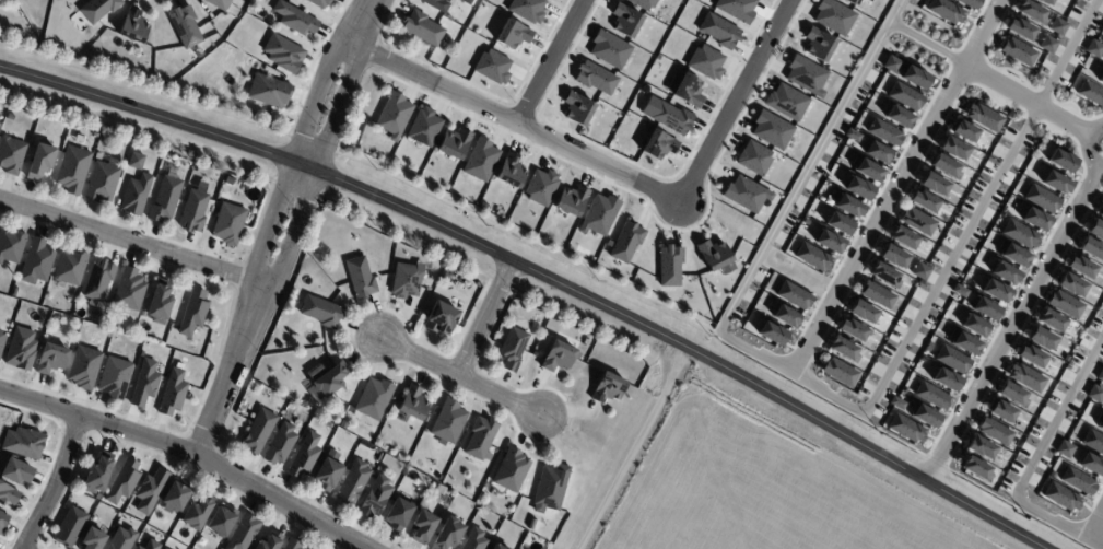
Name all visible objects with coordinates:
building: (1036, 0)
building: (468, 1)
building: (1046, 1)
building: (319, 2)
building: (852, 2)
building: (218, 3)
building: (643, 3)
building: (969, 3)
building: (438, 4)
building: (97, 9)
building: (736, 9)
building: (527, 10)
building: (946, 11)
building: (1032, 12)
building: (834, 16)
building: (294, 19)
building: (625, 20)
road: (365, 22)
building: (132, 26)
building: (184, 26)
building: (1057, 26)
building: (423, 28)
building: (1020, 30)
building: (719, 31)
building: (512, 34)
building: (818, 44)
building: (1048, 45)
building: (609, 49)
building: (1093, 49)
building: (1018, 51)
building: (283, 52)
road: (551, 61)
building: (705, 62)
building: (891, 65)
building: (492, 67)
building: (806, 75)
building: (915, 77)
building: (595, 78)
building: (1101, 78)
road: (989, 84)
building: (685, 89)
building: (828, 90)
building: (268, 91)
building: (1090, 93)
building: (904, 96)
road: (734, 102)
building: (786, 102)
building: (576, 108)
building: (392, 116)
building: (897, 116)
building: (671, 117)
building: (983, 117)
road: (516, 122)
building: (424, 127)
building: (771, 130)
building: (964, 130)
building: (884, 132)
building: (94, 135)
building: (853, 136)
building: (454, 143)
building: (658, 144)
road: (1088, 147)
building: (952, 148)
building: (878, 152)
building: (11, 154)
building: (97, 155)
building: (790, 156)
road: (294, 157)
building: (753, 157)
building: (480, 160)
building: (40, 161)
building: (137, 161)
building: (1061, 161)
building: (946, 166)
road: (316, 167)
building: (73, 170)
building: (509, 170)
building: (867, 170)
building: (104, 180)
building: (1055, 183)
building: (932, 184)
road: (895, 186)
building: (541, 187)
building: (858, 188)
building: (136, 194)
building: (746, 194)
building: (165, 199)
building: (1042, 199)
building: (571, 200)
building: (924, 201)
building: (848, 206)
building: (193, 211)
building: (1101, 212)
building: (599, 215)
building: (1035, 219)
building: (917, 221)
building: (230, 223)
building: (838, 223)
building: (1095, 230)
building: (1020, 234)
building: (903, 237)
road: (130, 241)
building: (923, 241)
building: (829, 242)
building: (625, 243)
building: (11, 245)
building: (1091, 249)
building: (1013, 255)
building: (893, 256)
building: (715, 257)
building: (812, 257)
building: (37, 262)
building: (669, 265)
building: (70, 267)
building: (1081, 267)
building: (920, 271)
building: (1005, 273)
road: (540, 274)
building: (884, 274)
building: (359, 277)
building: (445, 277)
building: (98, 279)
building: (404, 280)
building: (1070, 284)
building: (476, 285)
building: (959, 291)
building: (995, 291)
building: (130, 292)
building: (15, 293)
building: (877, 294)
building: (794, 295)
building: (160, 301)
building: (771, 304)
building: (1065, 305)
building: (985, 308)
building: (320, 311)
building: (192, 312)
building: (861, 312)
building: (786, 316)
building: (55, 318)
building: (439, 318)
road: (486, 320)
building: (1051, 320)
road: (1013, 324)
building: (975, 326)
building: (852, 329)
building: (0, 330)
building: (771, 332)
building: (1041, 338)
building: (1, 341)
building: (963, 342)
building: (928, 346)
building: (513, 348)
building: (20, 349)
building: (843, 349)
building: (558, 357)
building: (1031, 357)
building: (1065, 358)
building: (50, 359)
building: (922, 359)
building: (951, 360)
building: (83, 367)
road: (231, 371)
building: (315, 371)
building: (840, 372)
building: (1100, 375)
building: (114, 377)
building: (1025, 377)
building: (329, 378)
road: (461, 379)
building: (946, 379)
building: (144, 384)
building: (607, 388)
road: (829, 392)
building: (172, 393)
building: (1012, 394)
building: (1094, 394)
building: (931, 396)
building: (373, 398)
building: (412, 402)
building: (896, 404)
building: (1000, 410)
building: (924, 414)
building: (1100, 420)
building: (447, 421)
building: (327, 424)
building: (905, 428)
building: (257, 431)
building: (995, 431)
building: (479, 437)
building: (353, 441)
building: (23, 442)
building: (1093, 442)
building: (280, 444)
building: (979, 447)
road: (633, 448)
building: (1065, 449)
road: (187, 453)
building: (304, 456)
building: (377, 456)
road: (1031, 462)
building: (1091, 464)
building: (976, 469)
building: (511, 470)
building: (15, 471)
building: (328, 474)
building: (1052, 474)
building: (97, 476)
building: (437, 477)
building: (1077, 481)
building: (122, 482)
building: (353, 482)
road: (56, 484)
building: (550, 488)
building: (438, 489)
building: (151, 491)
building: (8, 494)
building: (176, 495)
building: (1060, 497)
building: (375, 498)
building: (197, 513)
building: (398, 514)
building: (3, 519)
building: (221, 519)
road: (1094, 521)
building: (69, 526)
building: (422, 527)
building: (244, 533)
building: (448, 534)
building: (92, 539)
building: (121, 539)
building: (474, 539)
building: (269, 540)
building: (292, 544)
building: (151, 545)
building: (138, 547)
building: (497, 547)
building: (162, 548)

